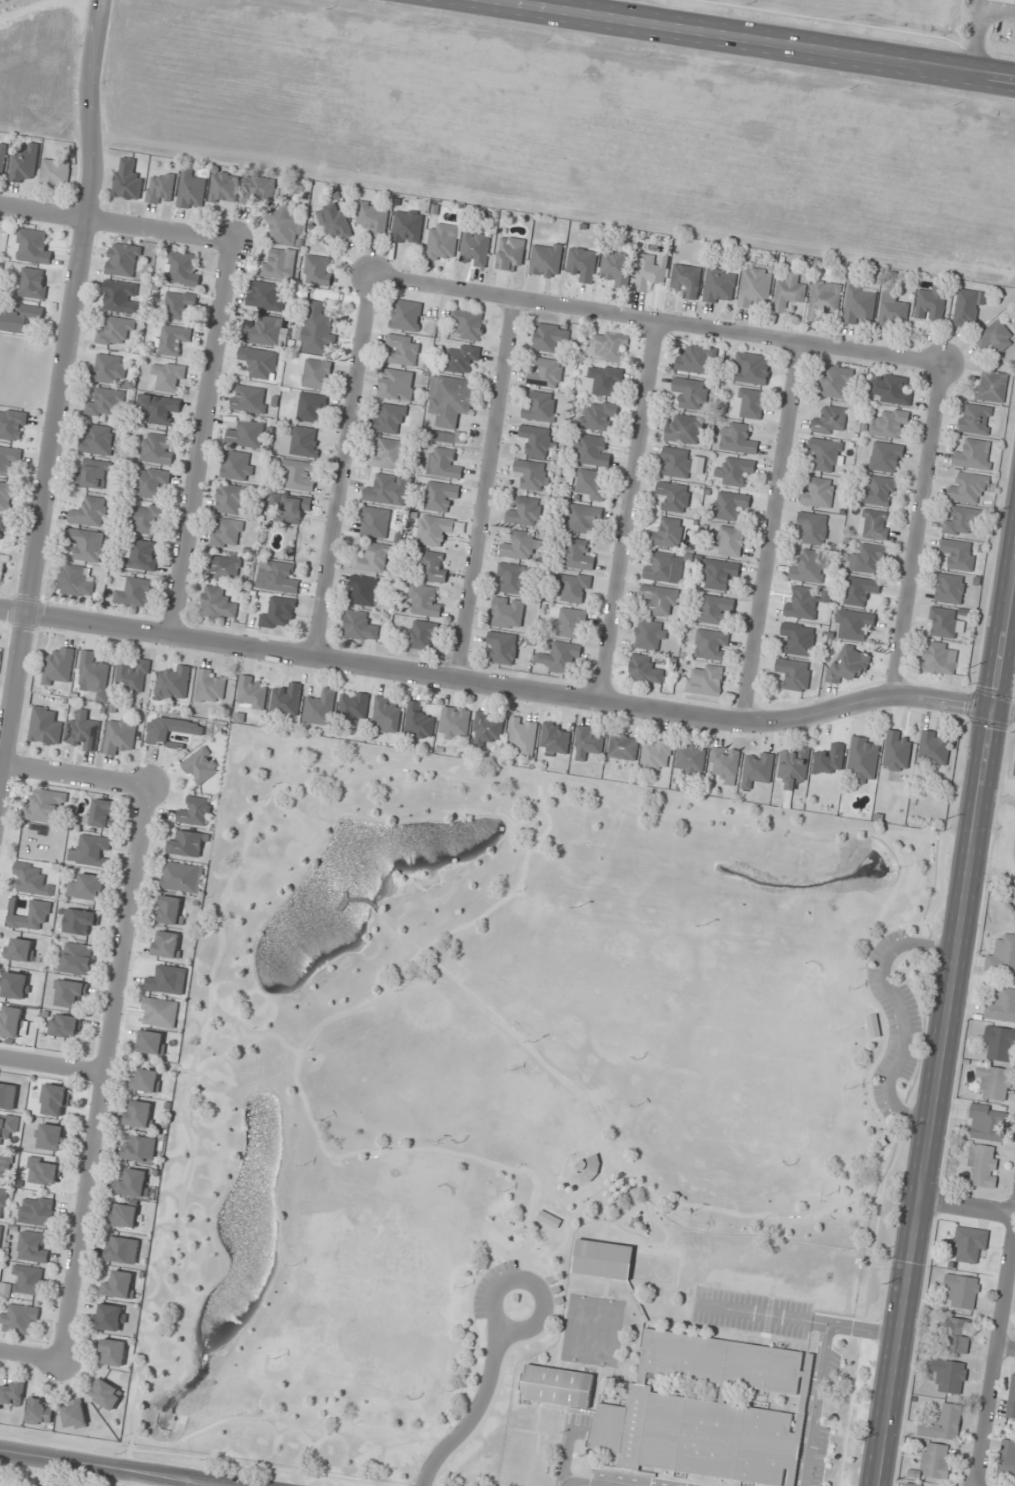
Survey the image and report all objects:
building: (1002, 1)
gas station: (1006, 1)
road: (998, 12)
road: (977, 36)
road: (758, 39)
building: (2, 158)
building: (24, 164)
building: (54, 172)
building: (127, 179)
building: (224, 187)
building: (160, 188)
building: (258, 189)
building: (191, 190)
building: (372, 218)
road: (114, 222)
building: (334, 224)
building: (407, 226)
building: (284, 228)
building: (441, 241)
building: (31, 246)
building: (474, 248)
building: (510, 254)
building: (123, 259)
building: (546, 259)
building: (279, 263)
building: (582, 264)
building: (181, 268)
building: (615, 268)
building: (318, 270)
building: (649, 273)
building: (686, 280)
building: (33, 283)
building: (719, 285)
building: (754, 287)
building: (789, 291)
building: (265, 296)
building: (119, 297)
building: (824, 297)
building: (931, 303)
building: (178, 305)
building: (859, 305)
building: (966, 308)
building: (892, 313)
building: (405, 315)
building: (20, 319)
road: (657, 323)
building: (468, 324)
building: (115, 330)
building: (262, 330)
building: (317, 331)
building: (550, 337)
building: (995, 337)
building: (170, 340)
building: (608, 346)
building: (402, 350)
building: (462, 358)
building: (696, 359)
building: (260, 363)
building: (751, 368)
building: (108, 369)
building: (316, 374)
building: (547, 374)
building: (168, 377)
building: (601, 381)
building: (835, 382)
building: (397, 384)
building: (991, 386)
building: (889, 389)
building: (691, 393)
road: (62, 399)
building: (249, 399)
building: (450, 400)
building: (104, 401)
building: (750, 403)
building: (539, 406)
building: (159, 408)
building: (311, 408)
building: (598, 416)
building: (390, 418)
building: (975, 419)
building: (830, 421)
building: (889, 423)
building: (12, 424)
building: (683, 429)
building: (246, 434)
road: (200, 437)
building: (447, 437)
building: (737, 438)
building: (96, 439)
building: (536, 440)
building: (305, 442)
building: (157, 449)
building: (591, 451)
building: (387, 453)
building: (826, 454)
building: (974, 454)
building: (886, 457)
building: (9, 458)
building: (676, 462)
building: (443, 463)
building: (237, 465)
road: (344, 466)
building: (735, 471)
building: (93, 474)
building: (300, 474)
building: (533, 475)
building: (150, 482)
building: (590, 485)
road: (487, 487)
building: (968, 488)
building: (387, 489)
building: (878, 491)
building: (818, 492)
building: (440, 495)
building: (6, 496)
building: (673, 496)
building: (229, 499)
building: (731, 505)
building: (291, 507)
road: (629, 511)
building: (89, 512)
building: (524, 512)
building: (582, 518)
building: (144, 519)
building: (962, 521)
building: (374, 522)
building: (873, 524)
building: (3, 526)
building: (812, 528)
building: (433, 529)
road: (919, 530)
building: (226, 533)
building: (667, 533)
road: (772, 533)
building: (729, 540)
building: (87, 545)
building: (519, 545)
building: (578, 554)
building: (958, 554)
building: (143, 555)
building: (373, 558)
building: (868, 559)
building: (2, 566)
building: (432, 566)
building: (661, 567)
building: (809, 567)
building: (223, 568)
building: (718, 573)
building: (276, 576)
building: (511, 578)
building: (76, 580)
building: (574, 587)
building: (950, 588)
building: (133, 590)
building: (362, 590)
building: (859, 590)
building: (659, 600)
building: (424, 601)
building: (802, 603)
building: (217, 604)
building: (715, 609)
building: (279, 614)
building: (943, 622)
building: (570, 623)
building: (853, 624)
building: (360, 626)
building: (422, 635)
building: (650, 635)
building: (797, 639)
building: (710, 645)
building: (502, 647)
building: (559, 658)
building: (938, 658)
building: (849, 665)
building: (58, 666)
building: (645, 670)
building: (93, 674)
building: (794, 674)
building: (132, 677)
building: (705, 680)
building: (173, 683)
road: (508, 684)
building: (210, 686)
building: (251, 693)
building: (287, 699)
building: (353, 705)
building: (319, 707)
building: (386, 714)
building: (418, 721)
building: (454, 723)
building: (45, 726)
building: (487, 728)
building: (83, 732)
building: (119, 736)
building: (522, 737)
building: (555, 739)
building: (588, 742)
building: (623, 747)
building: (933, 748)
building: (897, 750)
building: (655, 755)
building: (691, 758)
building: (863, 759)
building: (725, 764)
building: (200, 765)
building: (794, 766)
building: (757, 768)
building: (1014, 771)
road: (75, 775)
building: (45, 806)
building: (195, 811)
building: (102, 813)
building: (187, 843)
building: (92, 850)
building: (181, 877)
building: (30, 879)
building: (87, 887)
road: (224, 896)
building: (170, 910)
road: (381, 919)
building: (77, 920)
building: (167, 944)
building: (19, 950)
building: (1001, 956)
building: (76, 958)
road: (402, 970)
building: (166, 980)
building: (15, 985)
building: (70, 993)
building: (1002, 1006)
building: (159, 1012)
building: (11, 1021)
building: (874, 1024)
building: (65, 1026)
road: (946, 1041)
building: (152, 1042)
building: (1000, 1043)
road: (53, 1064)
road: (106, 1074)
park: (501, 1079)
building: (146, 1080)
building: (994, 1081)
building: (8, 1095)
building: (56, 1100)
building: (139, 1114)
building: (987, 1123)
building: (51, 1136)
building: (139, 1149)
road: (345, 1155)
building: (983, 1165)
building: (4, 1166)
building: (586, 1169)
road: (615, 1169)
building: (45, 1173)
building: (134, 1183)
building: (3, 1202)
road: (968, 1207)
building: (36, 1210)
building: (123, 1215)
road: (773, 1217)
building: (0, 1231)
building: (970, 1243)
building: (32, 1247)
building: (122, 1249)
building: (603, 1258)
building: (751, 1277)
building: (27, 1279)
road: (531, 1282)
building: (120, 1284)
building: (796, 1284)
building: (962, 1290)
building: (111, 1317)
building: (19, 1319)
road: (798, 1319)
building: (953, 1334)
road: (1007, 1346)
building: (112, 1352)
road: (31, 1357)
road: (997, 1357)
building: (949, 1375)
building: (556, 1386)
building: (11, 1392)
building: (106, 1394)
building: (1011, 1399)
road: (816, 1405)
building: (40, 1411)
road: (474, 1411)
building: (706, 1411)
building: (74, 1414)
building: (943, 1423)
road: (568, 1451)
building: (1007, 1459)
building: (935, 1460)
road: (113, 1468)
road: (573, 1484)
building: (912, 1484)

